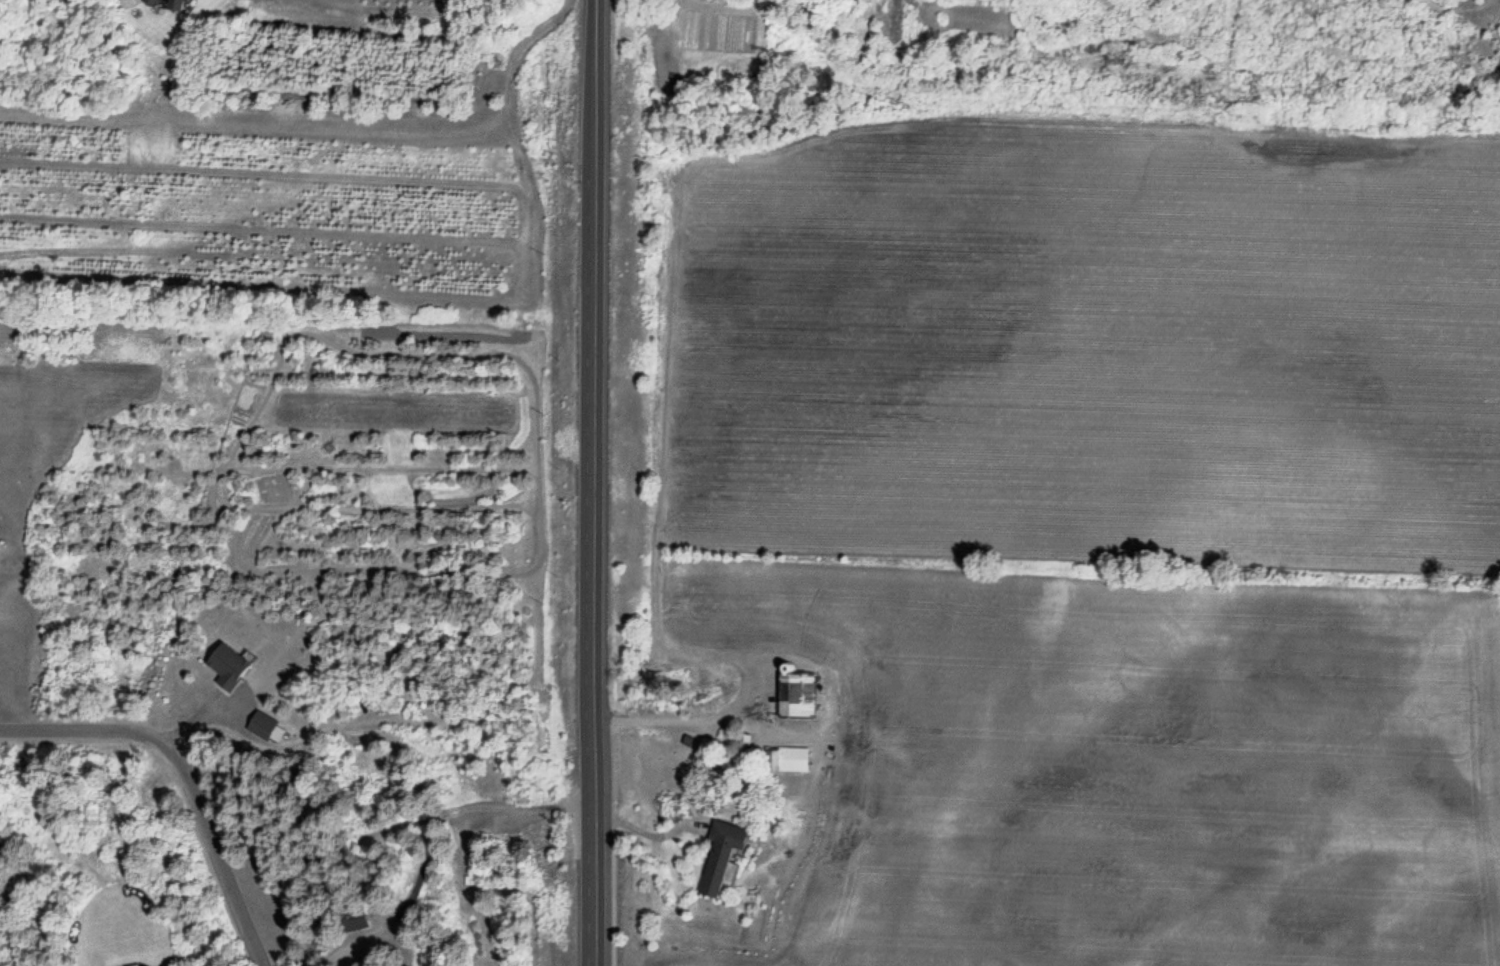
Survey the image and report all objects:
road: (597, 483)
building: (0, 552)
building: (233, 668)
building: (802, 696)
building: (264, 728)
road: (80, 731)
building: (792, 761)
road: (212, 852)
building: (724, 860)

